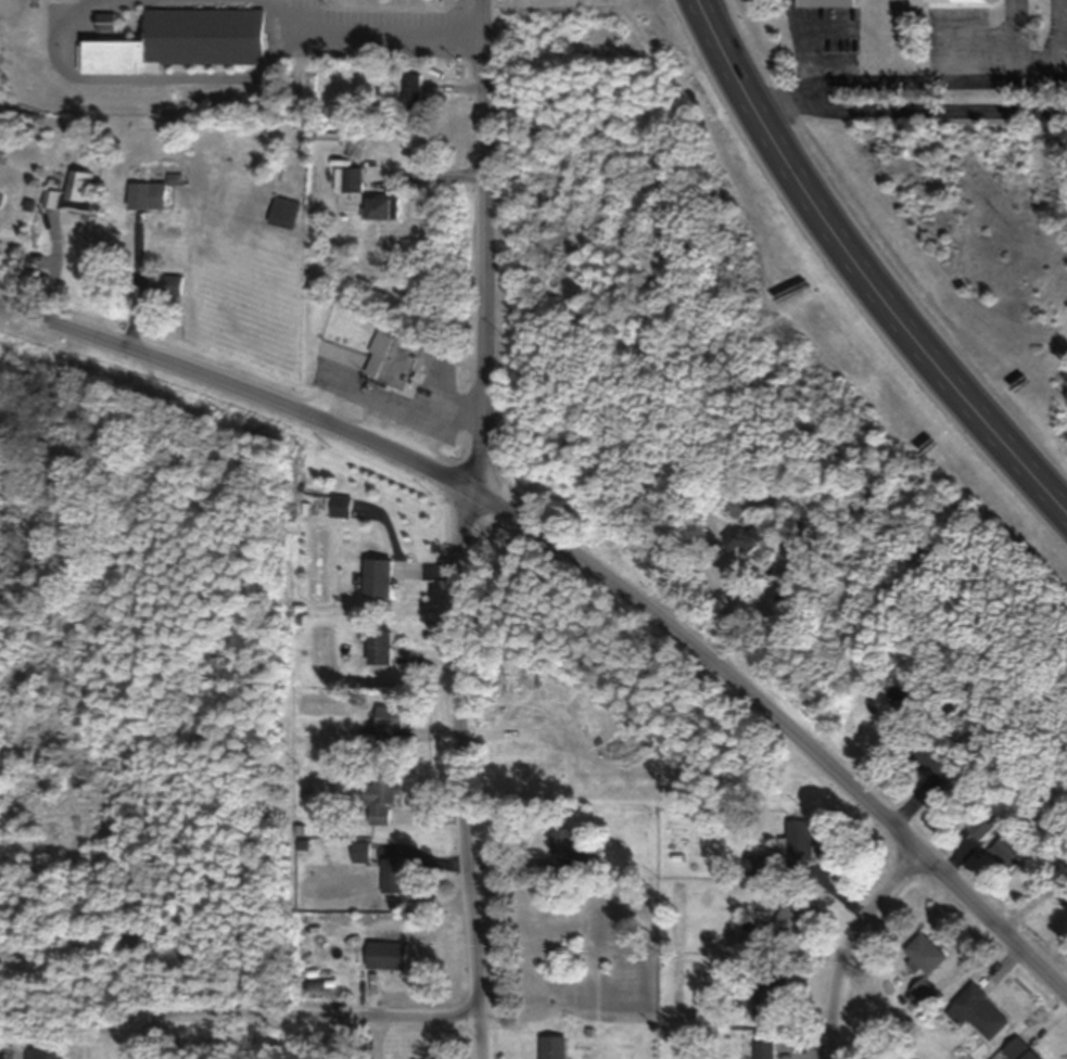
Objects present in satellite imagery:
building: (960, 1)
building: (828, 3)
road: (278, 10)
building: (106, 23)
road: (385, 30)
building: (183, 43)
road: (1050, 63)
road: (148, 81)
building: (412, 89)
road: (760, 107)
building: (352, 179)
building: (79, 189)
building: (149, 196)
building: (51, 199)
building: (385, 208)
building: (287, 213)
road: (861, 269)
building: (173, 288)
road: (135, 289)
building: (395, 360)
building: (341, 507)
building: (738, 507)
road: (469, 529)
building: (746, 540)
road: (586, 574)
building: (380, 577)
road: (766, 596)
building: (381, 647)
building: (390, 717)
building: (929, 758)
building: (382, 796)
building: (798, 841)
building: (570, 846)
building: (357, 851)
building: (1008, 851)
building: (758, 865)
building: (394, 875)
building: (792, 915)
road: (852, 948)
building: (388, 957)
building: (925, 966)
building: (767, 997)
building: (982, 1013)
road: (296, 1022)
building: (555, 1047)
building: (764, 1049)
building: (1020, 1050)
building: (47, 1052)

